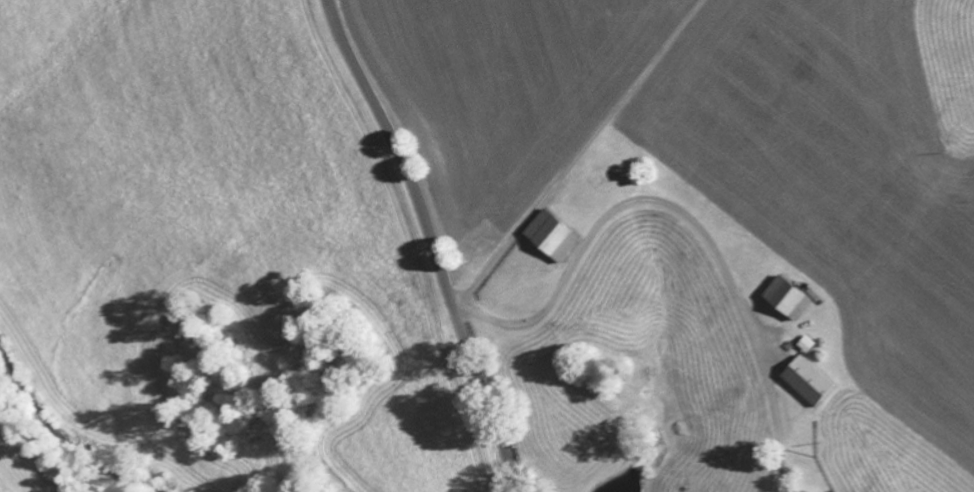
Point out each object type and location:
road: (600, 191)
building: (555, 238)
road: (705, 242)
road: (431, 245)
building: (790, 300)
building: (807, 348)
building: (810, 384)

